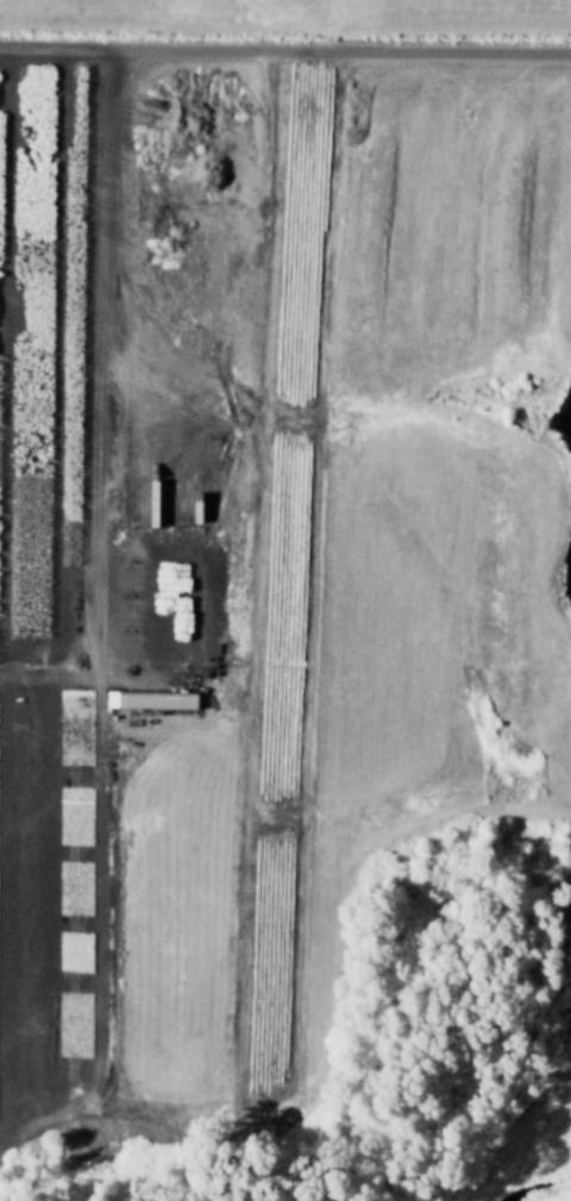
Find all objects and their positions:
building: (149, 699)

